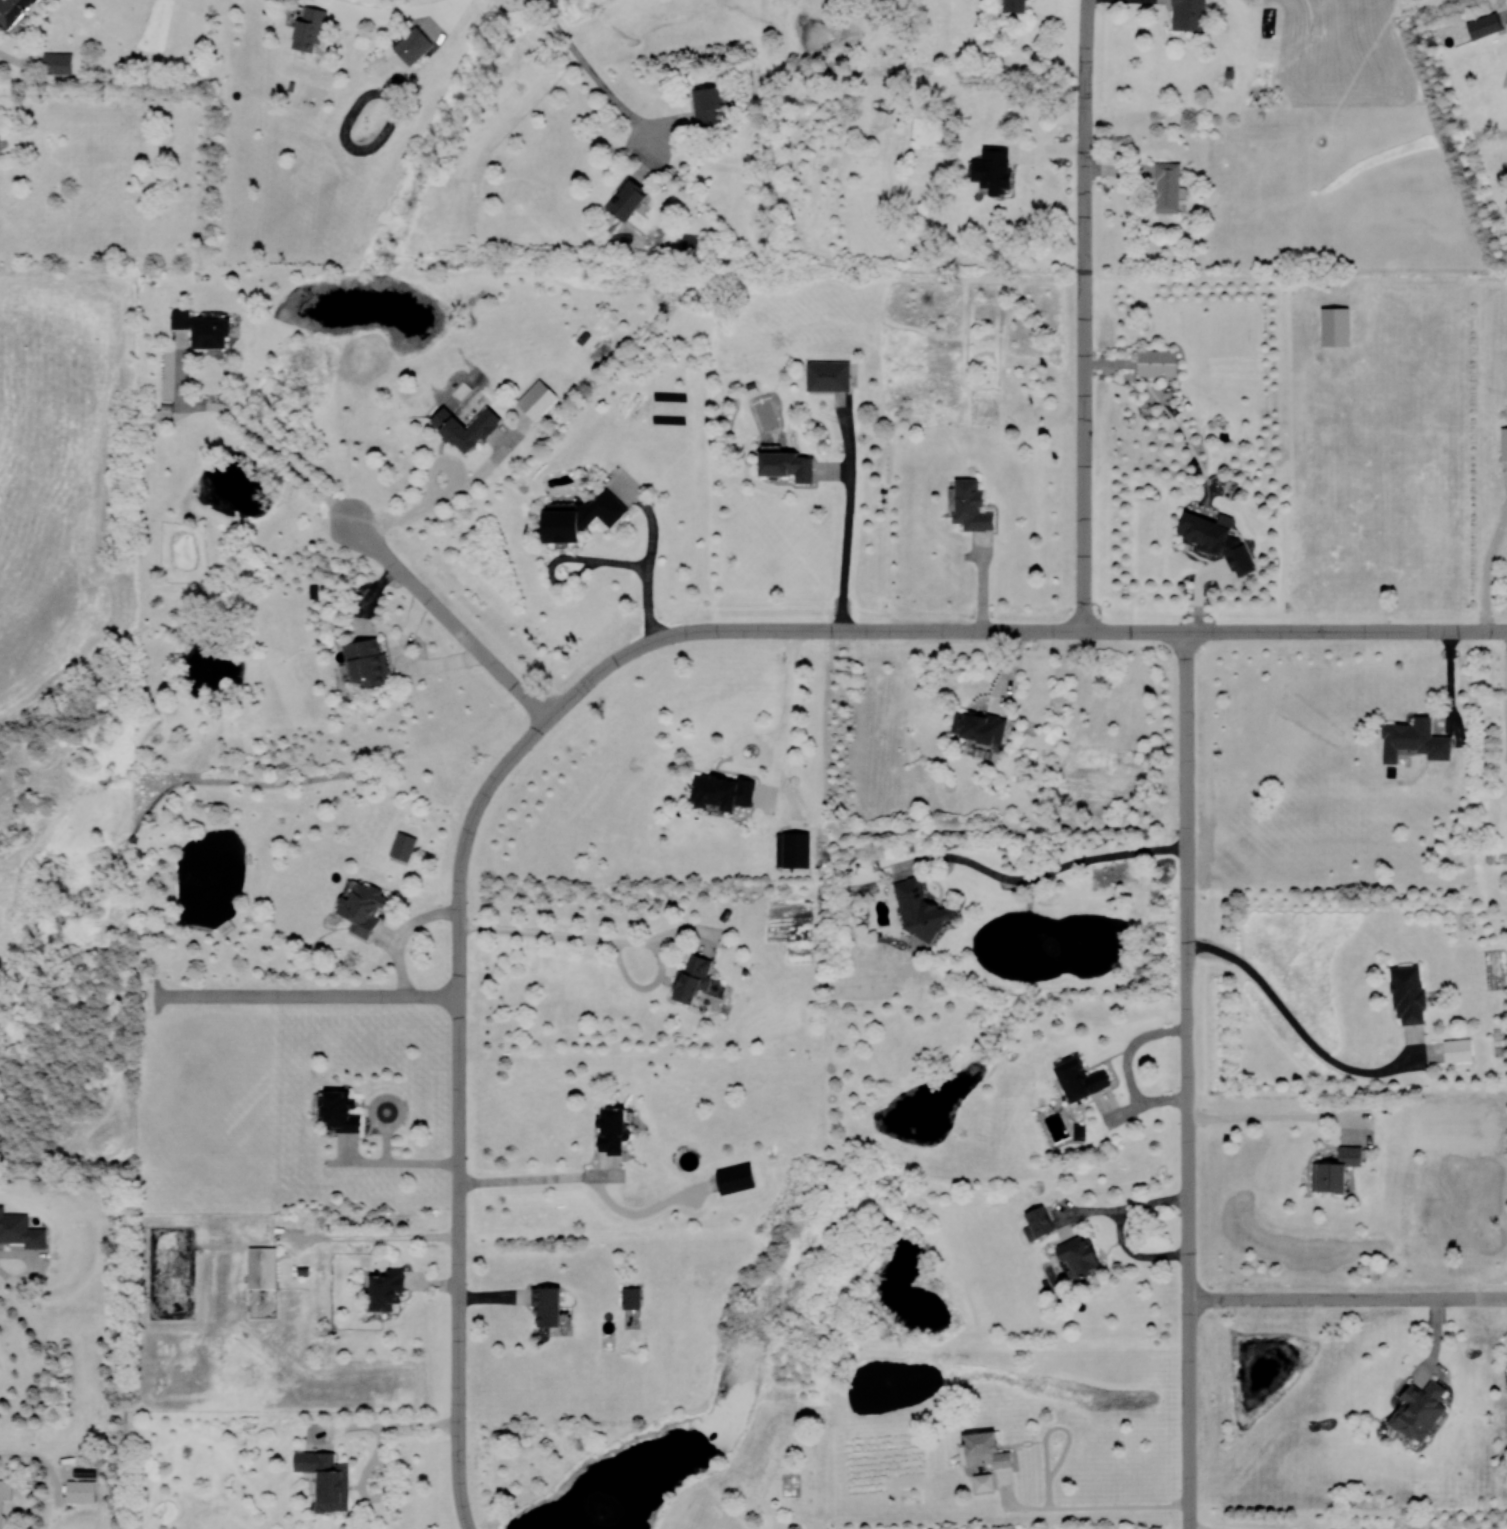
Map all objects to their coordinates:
building: (1015, 5)
building: (13, 11)
road: (407, 11)
building: (1188, 15)
building: (1483, 25)
building: (309, 29)
building: (412, 45)
building: (57, 63)
road: (588, 65)
building: (707, 104)
building: (992, 169)
building: (1168, 187)
building: (626, 199)
building: (689, 244)
road: (1085, 315)
building: (1334, 326)
building: (202, 329)
building: (1157, 362)
building: (828, 375)
building: (536, 399)
building: (465, 427)
road: (270, 443)
building: (1503, 443)
building: (786, 465)
road: (443, 495)
building: (970, 506)
building: (581, 517)
road: (847, 535)
building: (1216, 540)
road: (1486, 570)
road: (647, 583)
road: (448, 620)
road: (1196, 631)
road: (855, 632)
road: (671, 636)
building: (366, 662)
building: (979, 726)
building: (1414, 740)
road: (779, 743)
building: (722, 791)
building: (402, 846)
building: (792, 849)
road: (1042, 874)
building: (362, 909)
building: (920, 910)
fountain: (1104, 936)
road: (612, 940)
building: (692, 979)
building: (1407, 993)
road: (307, 996)
road: (1297, 1025)
building: (1457, 1050)
building: (1080, 1079)
road: (1187, 1079)
road: (460, 1110)
building: (340, 1111)
road: (1279, 1117)
building: (612, 1129)
building: (1078, 1132)
road: (405, 1162)
building: (1335, 1170)
building: (736, 1178)
road: (529, 1179)
building: (1037, 1223)
building: (20, 1230)
road: (1120, 1230)
road: (383, 1237)
building: (1079, 1255)
building: (262, 1267)
building: (386, 1289)
building: (631, 1297)
road: (1346, 1300)
road: (1506, 1300)
building: (547, 1306)
building: (1418, 1410)
road: (385, 1424)
building: (985, 1449)
building: (326, 1479)
building: (983, 1482)
building: (81, 1491)
building: (4, 1495)
road: (1092, 1508)

